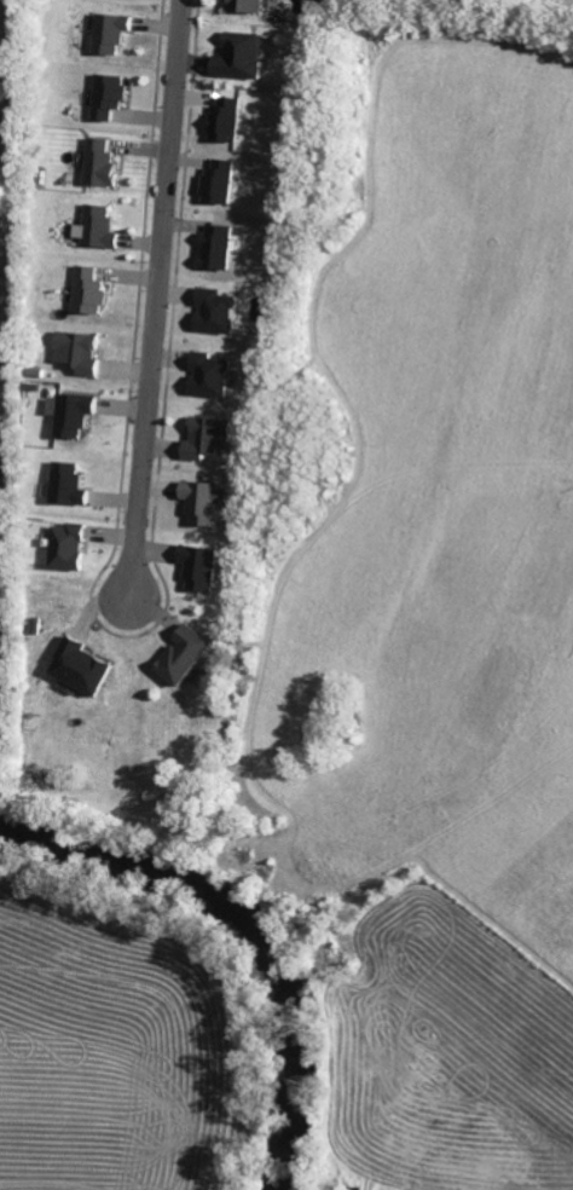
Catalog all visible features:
building: (251, 5)
building: (114, 31)
building: (244, 56)
building: (111, 94)
building: (228, 119)
building: (104, 162)
building: (222, 181)
building: (100, 226)
building: (220, 247)
building: (92, 290)
road: (154, 296)
building: (220, 311)
building: (82, 352)
building: (214, 375)
building: (77, 414)
building: (212, 437)
building: (71, 484)
building: (209, 501)
building: (71, 547)
building: (204, 566)
building: (190, 655)
building: (86, 666)
river: (251, 926)

